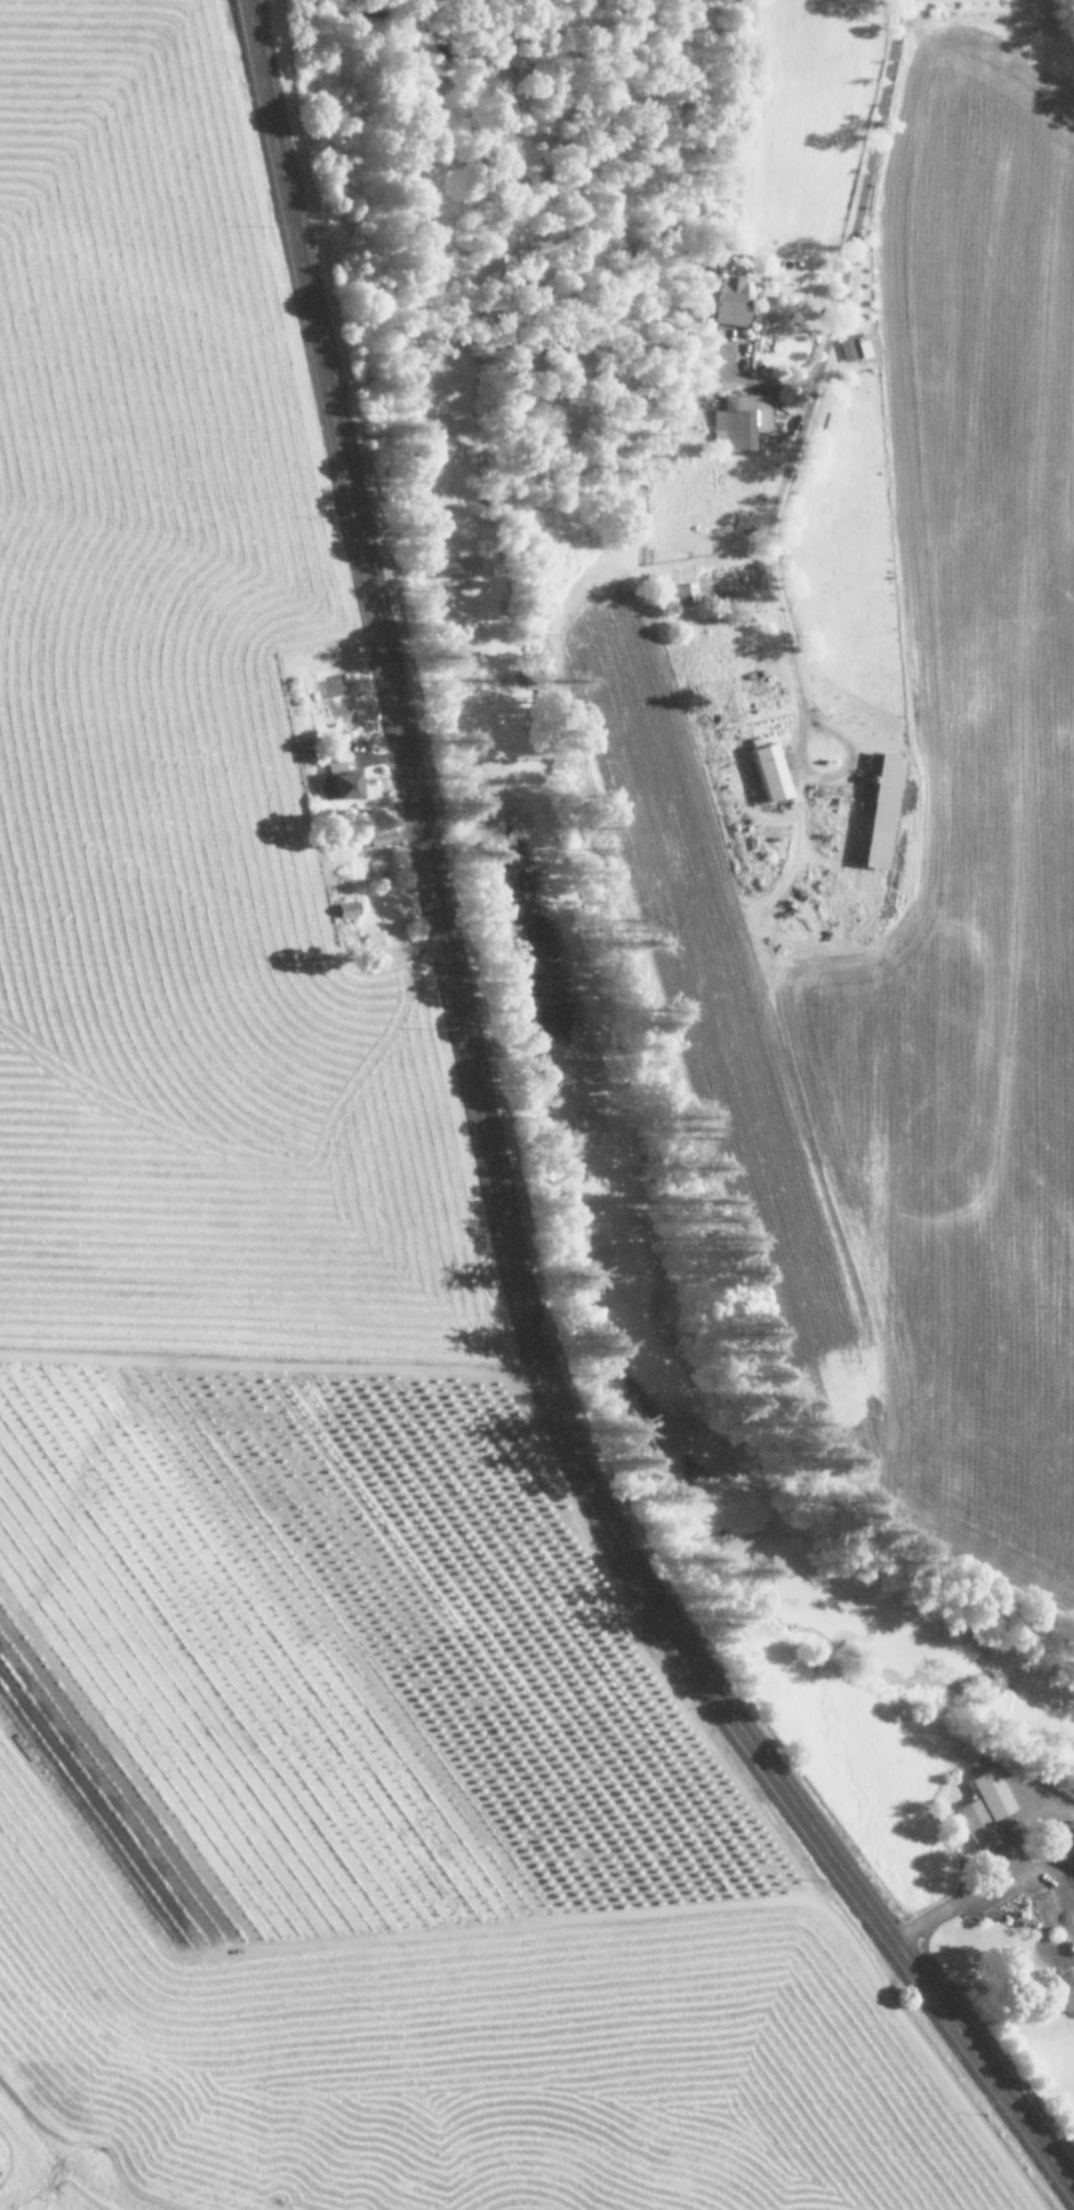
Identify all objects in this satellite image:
road: (857, 227)
building: (855, 345)
building: (739, 420)
building: (681, 593)
crop: (874, 747)
building: (765, 772)
building: (338, 778)
building: (876, 809)
building: (377, 838)
building: (344, 908)
road: (488, 1168)
crop: (357, 1416)
building: (980, 1806)
building: (1065, 1843)
road: (963, 1894)

